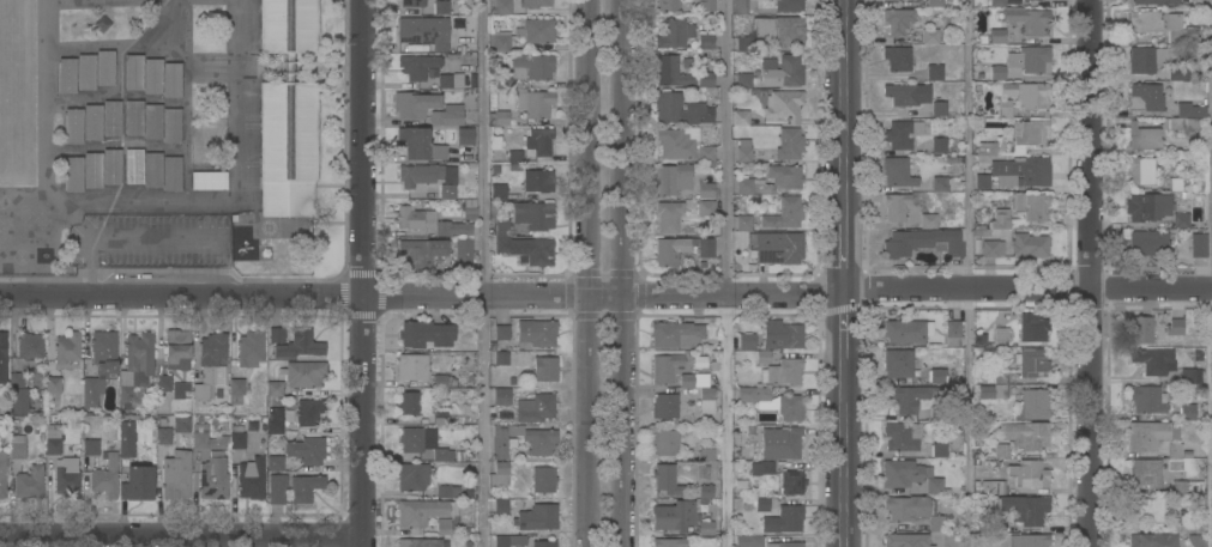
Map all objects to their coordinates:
building: (894, 0)
building: (1154, 1)
building: (412, 2)
building: (536, 2)
building: (934, 2)
building: (996, 2)
building: (667, 5)
building: (705, 5)
building: (789, 5)
building: (440, 6)
building: (499, 6)
building: (738, 7)
building: (897, 19)
building: (1027, 19)
building: (1162, 25)
building: (536, 30)
building: (785, 30)
building: (423, 31)
building: (674, 34)
building: (929, 36)
building: (996, 36)
building: (705, 41)
building: (499, 43)
building: (743, 43)
building: (897, 57)
building: (1030, 59)
building: (1145, 59)
building: (532, 65)
building: (417, 66)
building: (104, 67)
building: (671, 71)
building: (780, 71)
building: (85, 72)
building: (133, 72)
building: (934, 72)
building: (996, 72)
building: (1178, 72)
building: (66, 75)
building: (152, 75)
building: (706, 79)
building: (743, 79)
building: (171, 80)
building: (447, 80)
building: (504, 80)
building: (902, 93)
building: (1026, 93)
building: (1147, 95)
building: (414, 104)
building: (535, 104)
building: (783, 105)
building: (699, 108)
building: (1003, 108)
building: (939, 109)
building: (1188, 110)
building: (288, 111)
road: (845, 114)
building: (447, 115)
building: (740, 116)
building: (111, 117)
building: (133, 117)
building: (498, 117)
building: (152, 121)
building: (92, 122)
building: (171, 124)
building: (73, 126)
building: (1030, 132)
building: (900, 134)
building: (465, 136)
building: (1142, 136)
building: (415, 141)
building: (538, 141)
building: (677, 141)
building: (789, 144)
building: (939, 145)
building: (989, 146)
building: (743, 151)
building: (439, 152)
building: (705, 153)
building: (514, 158)
building: (133, 165)
building: (111, 166)
building: (152, 169)
building: (92, 170)
building: (1024, 170)
building: (1140, 170)
building: (897, 171)
building: (73, 174)
building: (171, 174)
building: (429, 177)
building: (671, 177)
building: (538, 180)
building: (786, 180)
building: (209, 181)
building: (981, 181)
building: (939, 183)
building: (1174, 183)
building: (498, 190)
building: (705, 199)
building: (1030, 205)
building: (896, 206)
building: (1148, 207)
building: (470, 208)
building: (784, 213)
building: (533, 214)
building: (668, 215)
building: (928, 220)
building: (999, 220)
building: (1181, 220)
building: (430, 221)
building: (743, 221)
building: (923, 242)
building: (1147, 242)
building: (1198, 244)
building: (523, 245)
building: (1030, 245)
building: (705, 247)
building: (778, 248)
building: (989, 248)
building: (669, 250)
building: (463, 251)
building: (421, 253)
road: (845, 260)
road: (367, 273)
road: (487, 273)
road: (591, 273)
road: (615, 273)
road: (724, 273)
road: (970, 273)
road: (1091, 273)
road: (605, 297)
road: (845, 326)
building: (1032, 327)
building: (1174, 327)
building: (1139, 329)
building: (905, 330)
building: (501, 332)
building: (535, 332)
building: (954, 333)
building: (1001, 333)
building: (276, 334)
building: (426, 334)
building: (676, 334)
building: (782, 334)
building: (747, 341)
building: (300, 344)
building: (30, 345)
building: (67, 347)
building: (177, 348)
building: (251, 348)
building: (499, 354)
building: (2, 357)
building: (762, 357)
building: (1153, 360)
building: (1031, 361)
building: (899, 363)
building: (100, 365)
building: (135, 366)
building: (204, 366)
building: (411, 367)
building: (665, 367)
building: (545, 369)
building: (782, 371)
building: (302, 372)
building: (937, 375)
building: (219, 376)
building: (1189, 376)
building: (440, 381)
building: (163, 383)
building: (52, 385)
building: (236, 385)
building: (275, 388)
building: (700, 389)
building: (993, 390)
building: (17, 394)
building: (501, 396)
building: (906, 397)
building: (1148, 399)
building: (773, 401)
building: (412, 402)
building: (1032, 403)
building: (664, 406)
building: (536, 407)
building: (309, 412)
building: (1188, 412)
building: (936, 413)
building: (440, 417)
building: (275, 420)
building: (182, 424)
building: (906, 434)
building: (1025, 434)
building: (1146, 434)
building: (163, 436)
building: (52, 438)
building: (126, 438)
building: (207, 438)
building: (237, 439)
building: (523, 439)
building: (664, 442)
building: (780, 442)
building: (423, 443)
building: (90, 446)
building: (939, 449)
building: (306, 450)
building: (1001, 450)
building: (1175, 450)
building: (705, 454)
road: (845, 454)
building: (11, 457)
building: (275, 463)
building: (761, 468)
building: (1029, 473)
building: (1145, 473)
building: (176, 474)
building: (499, 474)
building: (66, 475)
building: (909, 475)
building: (105, 476)
building: (412, 476)
building: (213, 479)
building: (251, 479)
building: (542, 479)
building: (665, 479)
building: (29, 482)
building: (137, 482)
building: (791, 482)
building: (740, 484)
building: (994, 486)
building: (304, 487)
building: (1178, 487)
building: (276, 488)
building: (447, 491)
building: (705, 492)
building: (500, 504)
building: (761, 504)
building: (906, 506)
building: (1023, 509)
building: (1145, 510)
building: (423, 511)
building: (674, 515)
building: (537, 517)
building: (789, 517)
building: (936, 522)
building: (1187, 522)
building: (997, 524)
building: (444, 527)
building: (705, 527)
road: (182, 536)
building: (509, 540)
building: (906, 540)
building: (1029, 540)
building: (1152, 540)
building: (749, 541)
building: (420, 542)
building: (669, 542)
building: (543, 543)
building: (785, 543)

